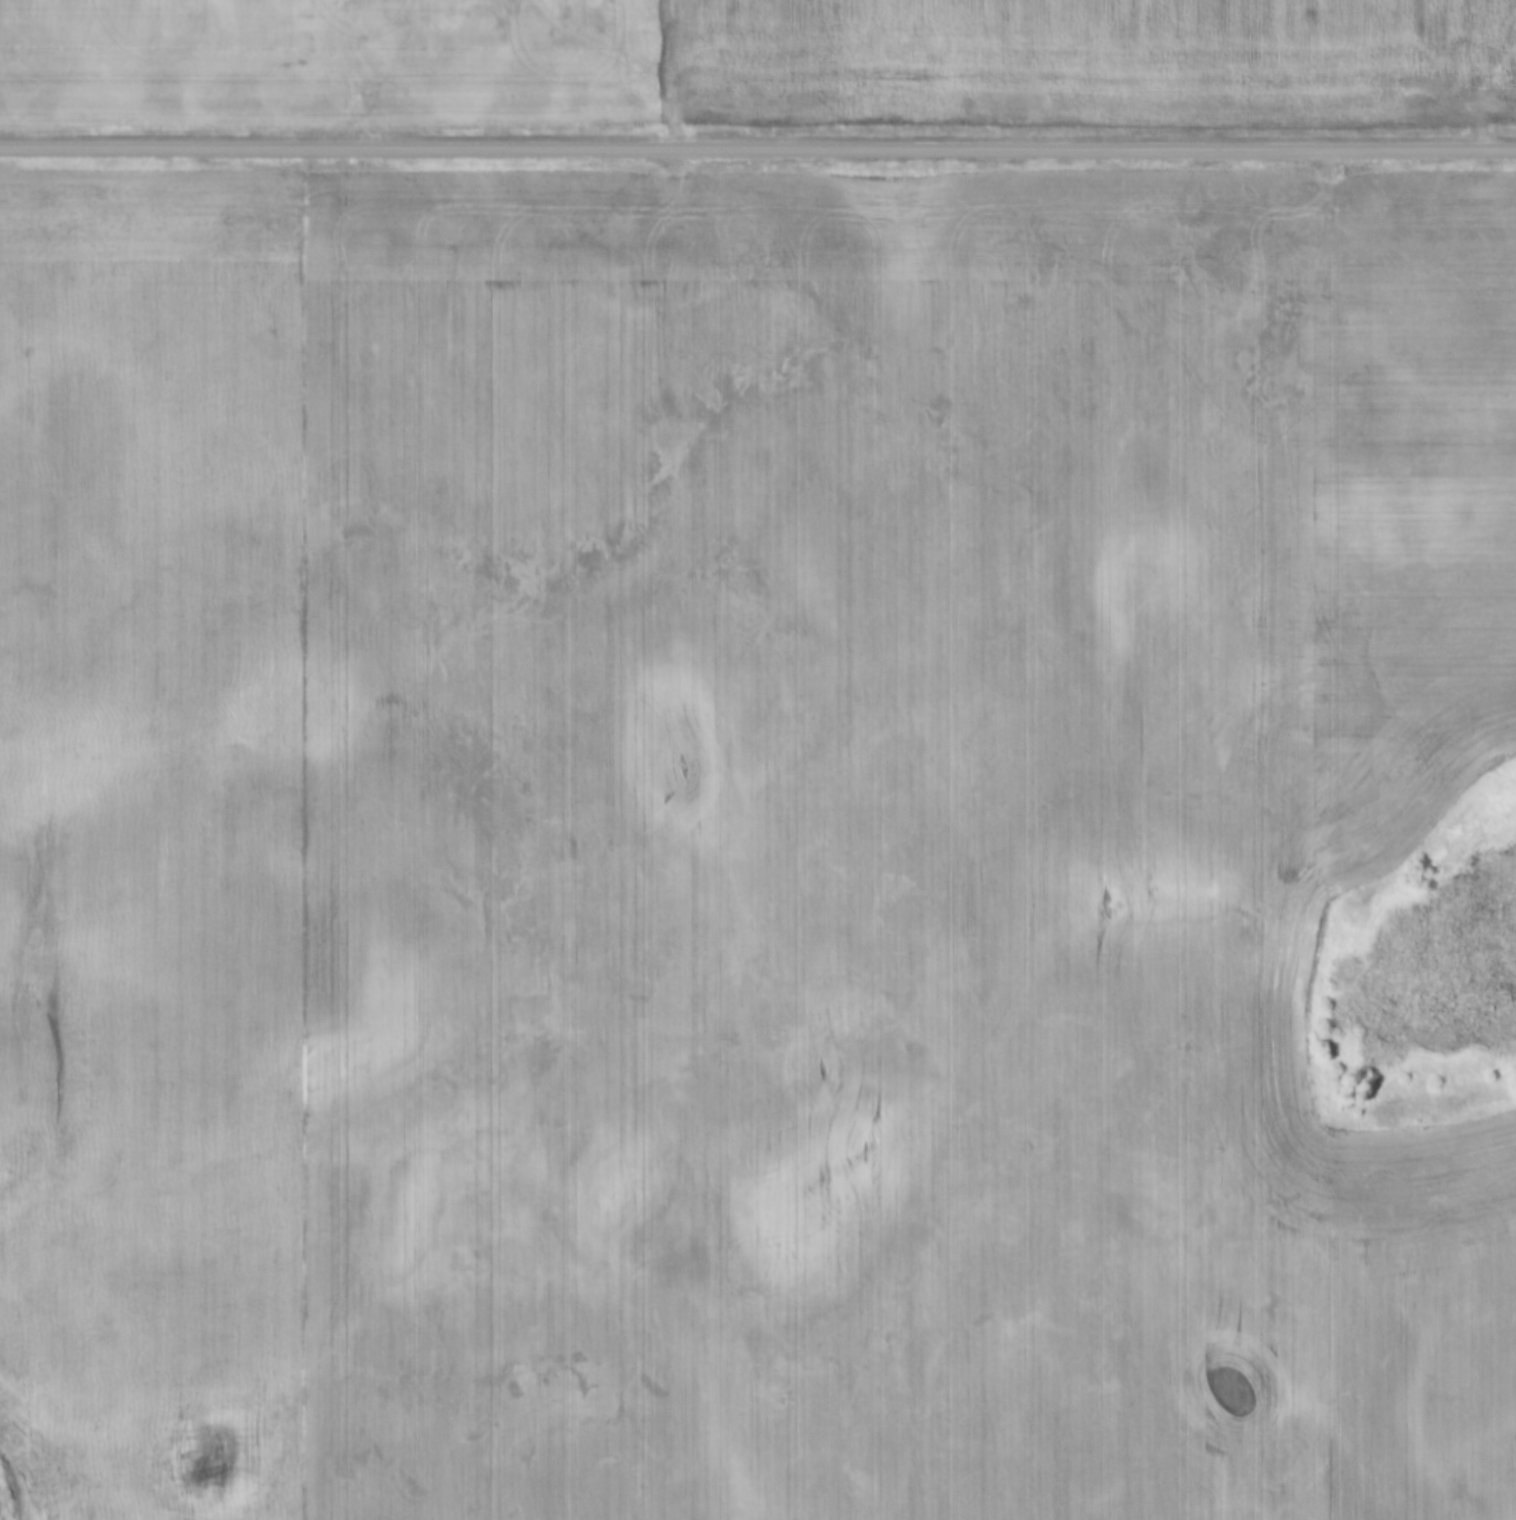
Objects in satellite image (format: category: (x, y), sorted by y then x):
road: (758, 142)

